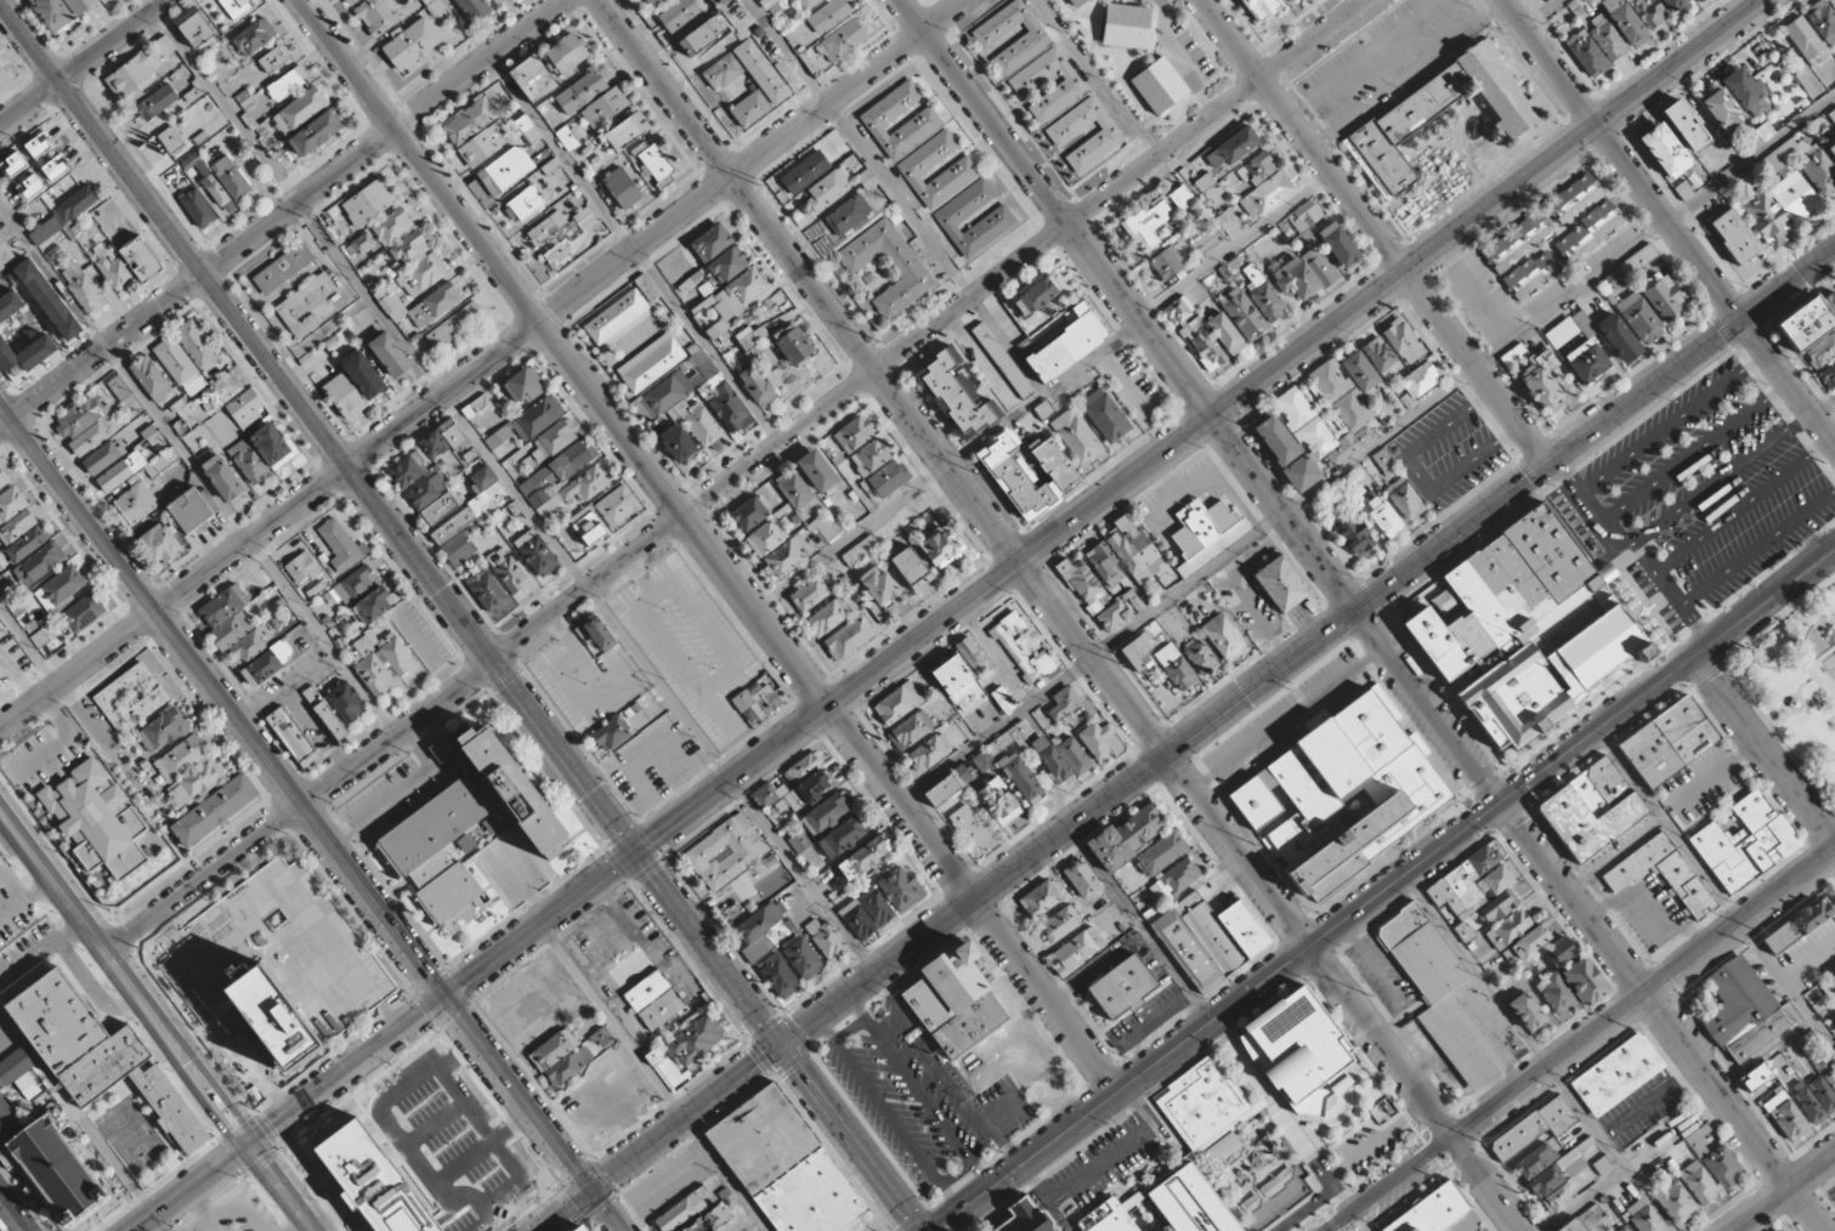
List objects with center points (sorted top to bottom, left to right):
building: (1287, 0)
building: (1547, 0)
building: (349, 1)
building: (498, 1)
building: (653, 1)
building: (723, 1)
building: (764, 1)
building: (1831, 1)
building: (805, 2)
building: (1077, 2)
building: (1673, 4)
building: (81, 5)
building: (236, 7)
building: (1262, 7)
building: (474, 8)
building: (1649, 11)
building: (52, 13)
building: (678, 13)
road: (1545, 15)
building: (376, 16)
building: (828, 16)
building: (1823, 21)
building: (1625, 22)
building: (1126, 25)
building: (198, 30)
building: (701, 35)
building: (254, 36)
building: (1605, 36)
building: (1033, 38)
building: (843, 39)
building: (1805, 40)
parking lot: (1177, 44)
building: (410, 45)
building: (566, 53)
building: (1586, 53)
building: (272, 59)
road: (83, 62)
building: (723, 72)
building: (760, 72)
building: (132, 73)
building: (533, 79)
building: (4, 80)
building: (288, 83)
building: (1159, 85)
building: (1071, 86)
building: (582, 90)
building: (194, 92)
building: (1745, 92)
building: (154, 103)
building: (605, 107)
building: (751, 108)
building: (1722, 109)
building: (300, 110)
building: (1831, 115)
building: (469, 120)
building: (924, 120)
building: (1399, 120)
building: (1684, 125)
building: (627, 131)
building: (315, 134)
building: (1108, 136)
building: (567, 137)
building: (171, 138)
building: (40, 144)
building: (482, 144)
building: (1233, 147)
road: (859, 148)
building: (1831, 148)
building: (1665, 152)
road: (418, 160)
road: (752, 160)
building: (655, 163)
building: (1805, 164)
building: (13, 165)
building: (56, 168)
building: (1258, 168)
building: (961, 169)
building: (505, 170)
building: (804, 171)
building: (231, 177)
building: (867, 180)
building: (1203, 182)
building: (30, 187)
building: (622, 187)
building: (828, 188)
building: (214, 189)
building: (1684, 191)
building: (1265, 195)
building: (1794, 195)
building: (1180, 198)
building: (1574, 198)
building: (368, 203)
building: (75, 204)
building: (525, 204)
building: (197, 208)
road: (282, 214)
building: (848, 215)
building: (1765, 216)
building: (584, 217)
building: (998, 217)
building: (1301, 219)
road: (616, 220)
road: (1669, 221)
building: (1228, 222)
building: (1146, 225)
building: (392, 226)
building: (546, 228)
building: (45, 231)
road: (1375, 232)
building: (1588, 232)
road: (174, 234)
building: (1734, 236)
building: (1517, 242)
building: (710, 243)
building: (359, 244)
building: (1340, 245)
building: (409, 248)
building: (559, 254)
building: (6, 255)
building: (1316, 257)
building: (141, 259)
building: (905, 262)
building: (1166, 262)
building: (727, 265)
building: (114, 268)
building: (282, 268)
building: (421, 274)
building: (1531, 274)
building: (1295, 279)
building: (83, 288)
building: (646, 288)
building: (707, 289)
building: (737, 293)
building: (1263, 294)
building: (1035, 296)
building: (49, 299)
building: (1665, 299)
building: (1830, 302)
building: (10, 305)
building: (305, 305)
building: (421, 305)
building: (1178, 310)
building: (1242, 313)
building: (1639, 318)
building: (617, 319)
building: (1581, 320)
building: (1805, 324)
building: (454, 325)
building: (717, 329)
building: (1561, 333)
building: (1225, 334)
building: (749, 337)
building: (1618, 337)
building: (1403, 341)
building: (792, 344)
building: (1202, 344)
building: (1067, 345)
building: (197, 346)
building: (1822, 351)
building: (26, 353)
building: (390, 354)
road: (1296, 354)
building: (1514, 354)
building: (1380, 356)
building: (1002, 359)
building: (1586, 361)
building: (650, 363)
building: (1360, 371)
building: (363, 374)
building: (1829, 374)
building: (151, 379)
building: (1420, 379)
building: (1542, 382)
building: (757, 385)
building: (522, 386)
building: (119, 387)
building: (220, 391)
building: (700, 392)
road: (1042, 392)
road: (442, 393)
building: (957, 393)
building: (344, 396)
building: (245, 409)
building: (1044, 409)
building: (1349, 409)
building: (1104, 415)
building: (79, 416)
building: (537, 418)
building: (854, 433)
building: (1075, 436)
building: (90, 437)
building: (498, 437)
building: (153, 438)
building: (1276, 439)
building: (551, 442)
building: (676, 443)
building: (272, 446)
road: (1366, 448)
building: (427, 453)
building: (102, 456)
building: (871, 456)
building: (162, 461)
building: (248, 461)
building: (1053, 463)
building: (1386, 463)
building: (120, 471)
road: (197, 471)
building: (817, 471)
building: (1301, 472)
building: (219, 475)
building: (1015, 476)
building: (4, 477)
building: (482, 477)
road: (732, 477)
building: (888, 478)
building: (565, 480)
road: (511, 487)
building: (426, 490)
building: (795, 492)
building: (1404, 499)
building: (11, 504)
building: (135, 504)
building: (617, 505)
building: (442, 506)
building: (189, 510)
building: (749, 512)
building: (469, 514)
road: (684, 515)
building: (1381, 516)
building: (588, 526)
building: (1205, 526)
building: (17, 527)
building: (766, 537)
building: (1355, 537)
building: (27, 543)
building: (163, 543)
building: (339, 545)
building: (799, 548)
building: (942, 548)
building: (860, 550)
building: (1132, 550)
building: (459, 552)
building: (537, 554)
building: (40, 562)
building: (1105, 565)
building: (301, 567)
building: (911, 568)
building: (509, 572)
road: (641, 577)
building: (355, 584)
building: (1280, 584)
building: (878, 585)
building: (1083, 585)
building: (60, 588)
building: (811, 591)
building: (488, 594)
road: (174, 597)
building: (1443, 601)
building: (373, 605)
building: (225, 606)
building: (1120, 611)
building: (83, 613)
road: (1060, 614)
road: (1360, 614)
building: (828, 617)
road: (703, 624)
building: (1527, 629)
building: (231, 630)
building: (599, 634)
building: (849, 637)
building: (1223, 637)
road: (1803, 637)
building: (1023, 647)
building: (249, 648)
road: (1308, 648)
building: (1137, 654)
building: (972, 656)
building: (1200, 657)
road: (1822, 658)
road: (491, 659)
building: (381, 660)
building: (1176, 666)
park: (1830, 668)
building: (257, 669)
road: (687, 674)
road: (591, 675)
building: (1467, 677)
building: (958, 683)
road: (1801, 688)
building: (1, 690)
park: (1795, 691)
building: (341, 698)
building: (154, 699)
building: (1002, 699)
building: (757, 700)
road: (1785, 700)
road: (70, 702)
road: (221, 702)
building: (1064, 702)
building: (897, 703)
road: (1803, 705)
building: (330, 720)
road: (1765, 720)
building: (163, 730)
building: (910, 730)
building: (290, 733)
building: (611, 734)
road: (1763, 734)
building: (1100, 741)
building: (1667, 741)
building: (929, 751)
road: (1763, 751)
building: (1075, 755)
parking lot: (43, 756)
building: (1049, 759)
building: (802, 767)
building: (188, 771)
building: (1020, 777)
building: (948, 785)
building: (792, 793)
building: (1342, 795)
building: (998, 801)
traffic signals: (1502, 804)
building: (214, 810)
building: (1590, 810)
building: (823, 815)
building: (100, 821)
building: (972, 827)
building: (469, 829)
building: (1128, 835)
building: (842, 838)
building: (1745, 843)
building: (803, 849)
building: (726, 851)
traffic signals: (636, 852)
building: (1161, 852)
building: (863, 857)
building: (1663, 874)
building: (1082, 879)
building: (1176, 879)
building: (1495, 880)
building: (1465, 883)
building: (900, 887)
road: (1715, 890)
road: (1384, 891)
building: (1041, 898)
road: (973, 900)
parking lot: (13, 907)
building: (876, 907)
building: (1497, 907)
building: (857, 920)
building: (1059, 924)
building: (1797, 925)
road: (1140, 926)
building: (1508, 929)
building: (759, 930)
building: (1463, 932)
road: (87, 938)
building: (1210, 938)
building: (827, 940)
building: (1525, 944)
building: (276, 947)
parking garage: (276, 947)
road: (708, 949)
building: (1077, 951)
building: (1559, 952)
road: (39, 954)
building: (803, 958)
road: (481, 969)
building: (778, 975)
building: (1833, 975)
building: (1584, 981)
building: (1122, 987)
building: (1556, 993)
traffic signals: (443, 998)
building: (958, 999)
building: (1449, 999)
building: (653, 1000)
road: (166, 1009)
building: (1737, 1010)
building: (1527, 1011)
building: (277, 1014)
road: (5, 1017)
railway: (154, 1025)
building: (601, 1038)
building: (79, 1039)
building: (693, 1040)
road: (1580, 1043)
traffic signals: (781, 1046)
building: (554, 1049)
building: (1304, 1053)
road: (1536, 1054)
building: (15, 1066)
building: (568, 1066)
building: (663, 1067)
building: (1616, 1074)
building: (1755, 1077)
building: (1830, 1077)
building: (27, 1085)
road: (221, 1094)
building: (1823, 1094)
parking lot: (918, 1095)
building: (1807, 1102)
road: (204, 1104)
road: (79, 1114)
road: (531, 1114)
building: (1785, 1117)
railway: (234, 1119)
building: (9, 1123)
building: (1534, 1128)
road: (658, 1139)
road: (849, 1139)
building: (1191, 1148)
building: (1220, 1150)
building: (1574, 1158)
building: (1714, 1158)
building: (1535, 1161)
building: (1602, 1164)
building: (786, 1165)
parking lot: (1099, 1167)
building: (58, 1169)
building: (1546, 1180)
building: (1698, 1182)
road: (273, 1190)
traffic signals: (589, 1192)
road: (1786, 1193)
building: (1557, 1199)
building: (1675, 1202)
building: (681, 1210)
building: (1431, 1210)
parking lot: (233, 1213)
building: (1591, 1214)
building: (1642, 1216)
road: (9, 1218)
building: (1027, 1218)
building: (708, 1220)
road: (1359, 1220)
building: (1571, 1226)
building: (578, 1227)
building: (1624, 1229)
building: (1782, 1229)

